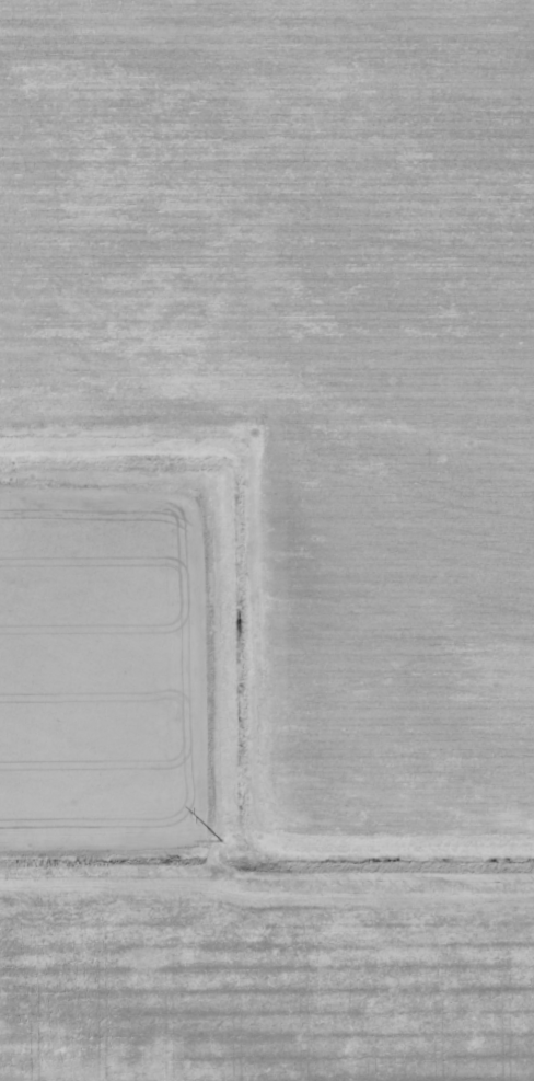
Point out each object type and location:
power tower: (229, 842)

